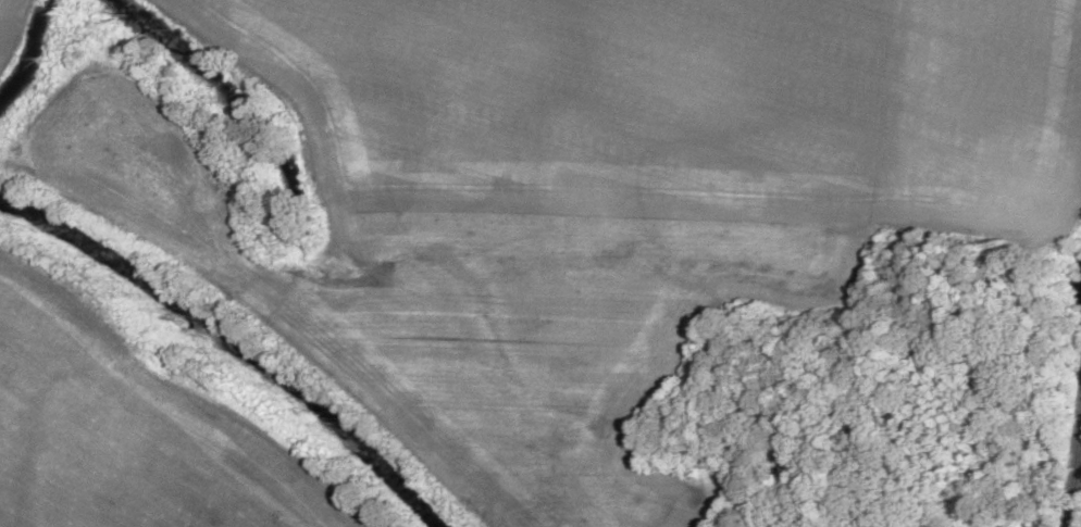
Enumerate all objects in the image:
railway: (1074, 481)

